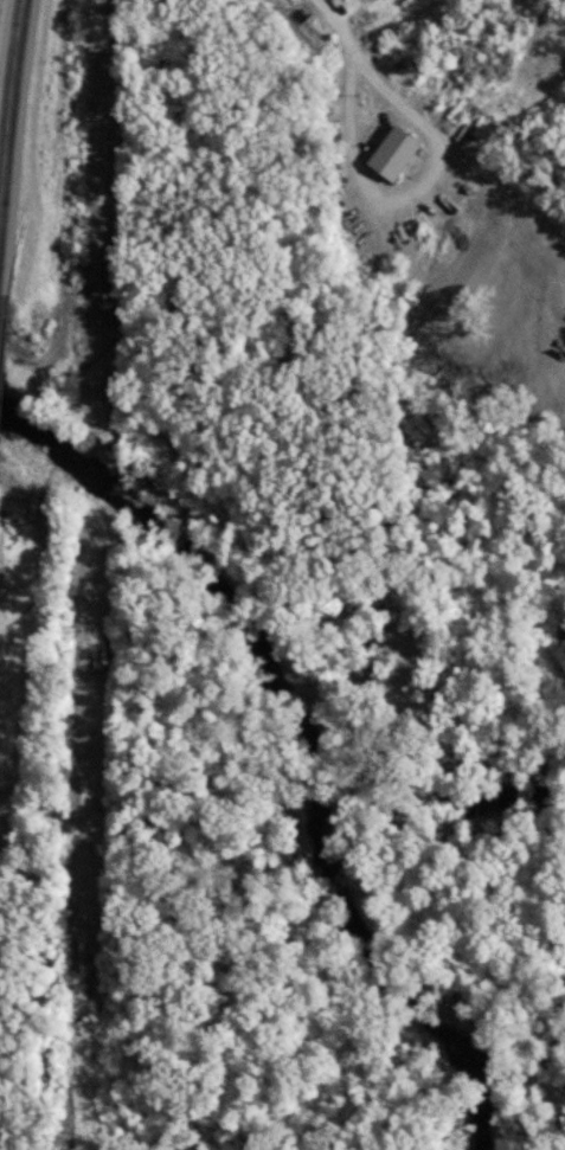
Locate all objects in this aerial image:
road: (339, 24)
road: (9, 88)
building: (390, 153)
road: (419, 195)

